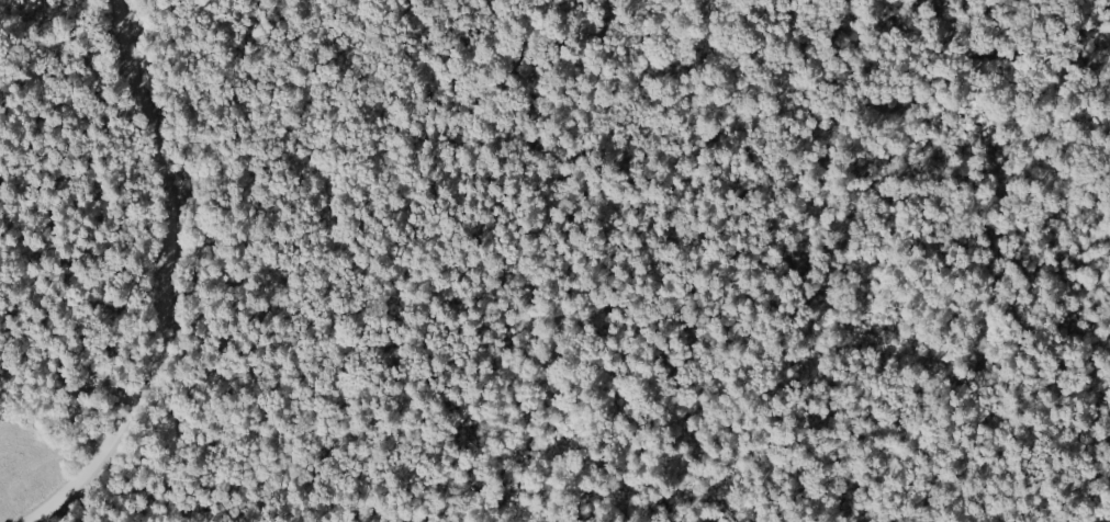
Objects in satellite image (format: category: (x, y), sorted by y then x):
road: (829, 181)
road: (162, 282)

